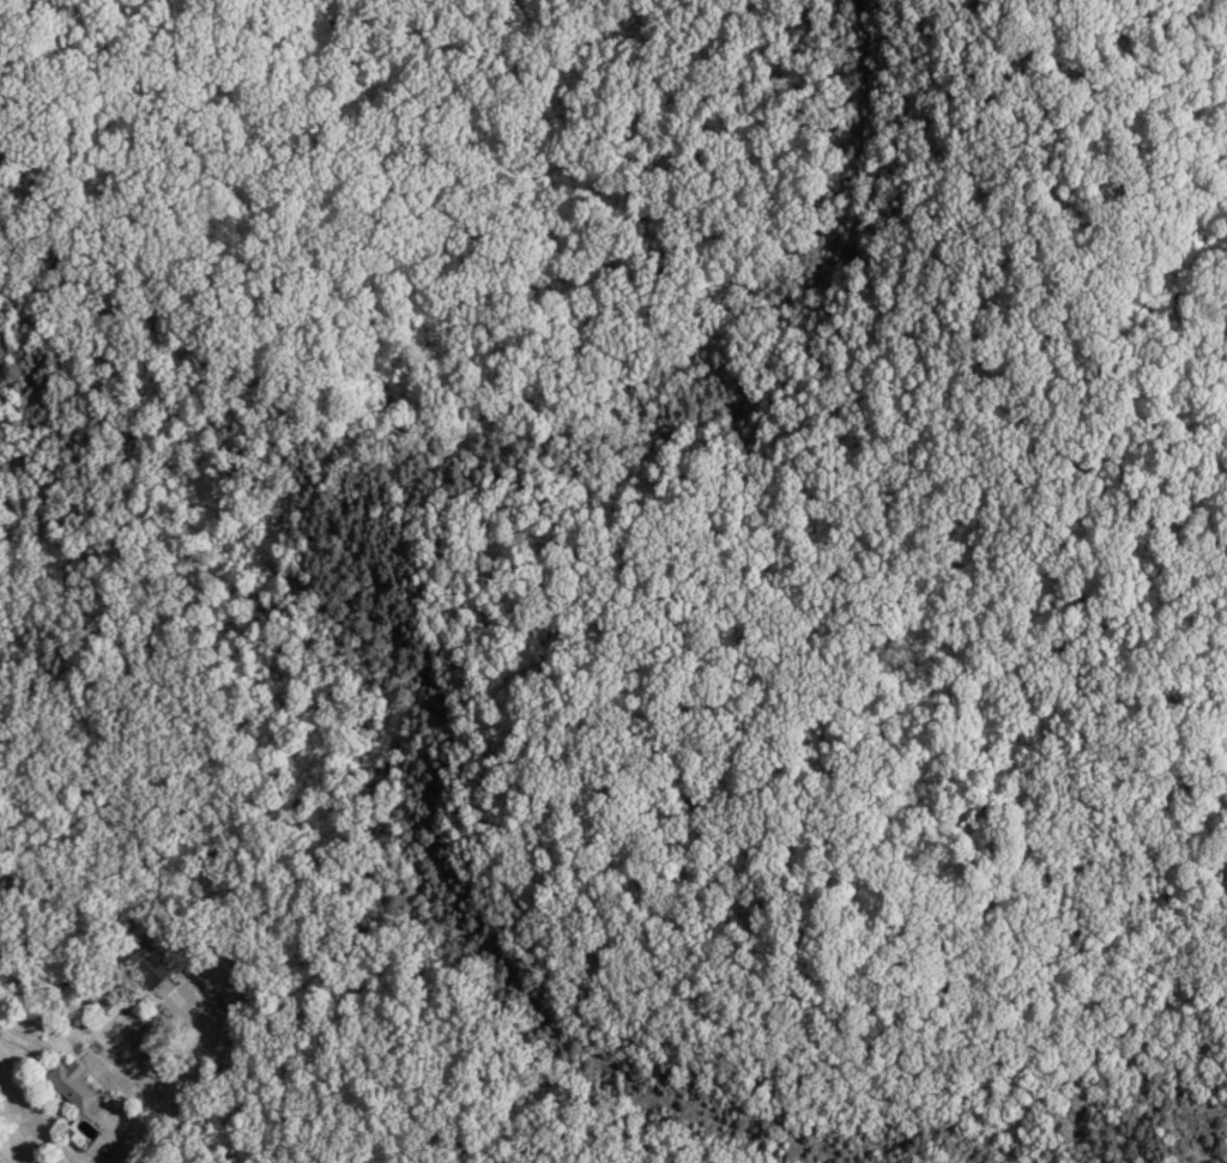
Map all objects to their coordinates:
building: (139, 959)
building: (114, 1003)
building: (69, 1088)
road: (121, 1137)

